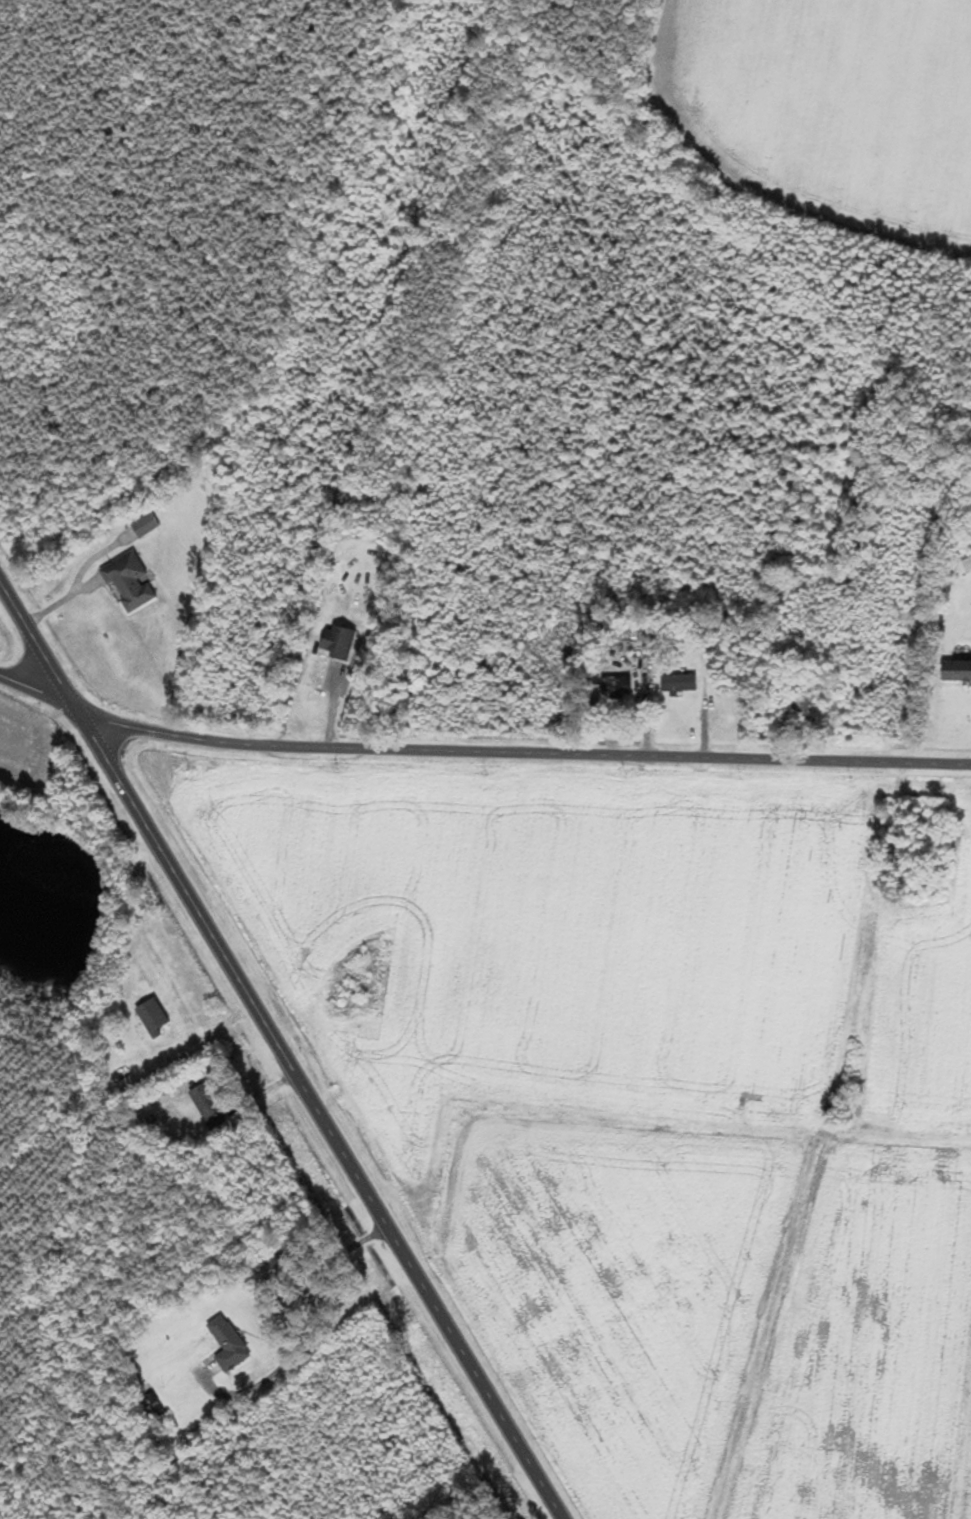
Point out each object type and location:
building: (128, 582)
building: (640, 631)
building: (338, 640)
building: (955, 670)
building: (677, 683)
road: (32, 684)
building: (723, 684)
building: (804, 712)
road: (528, 752)
building: (151, 1015)
road: (280, 1050)
building: (207, 1106)
building: (227, 1344)

